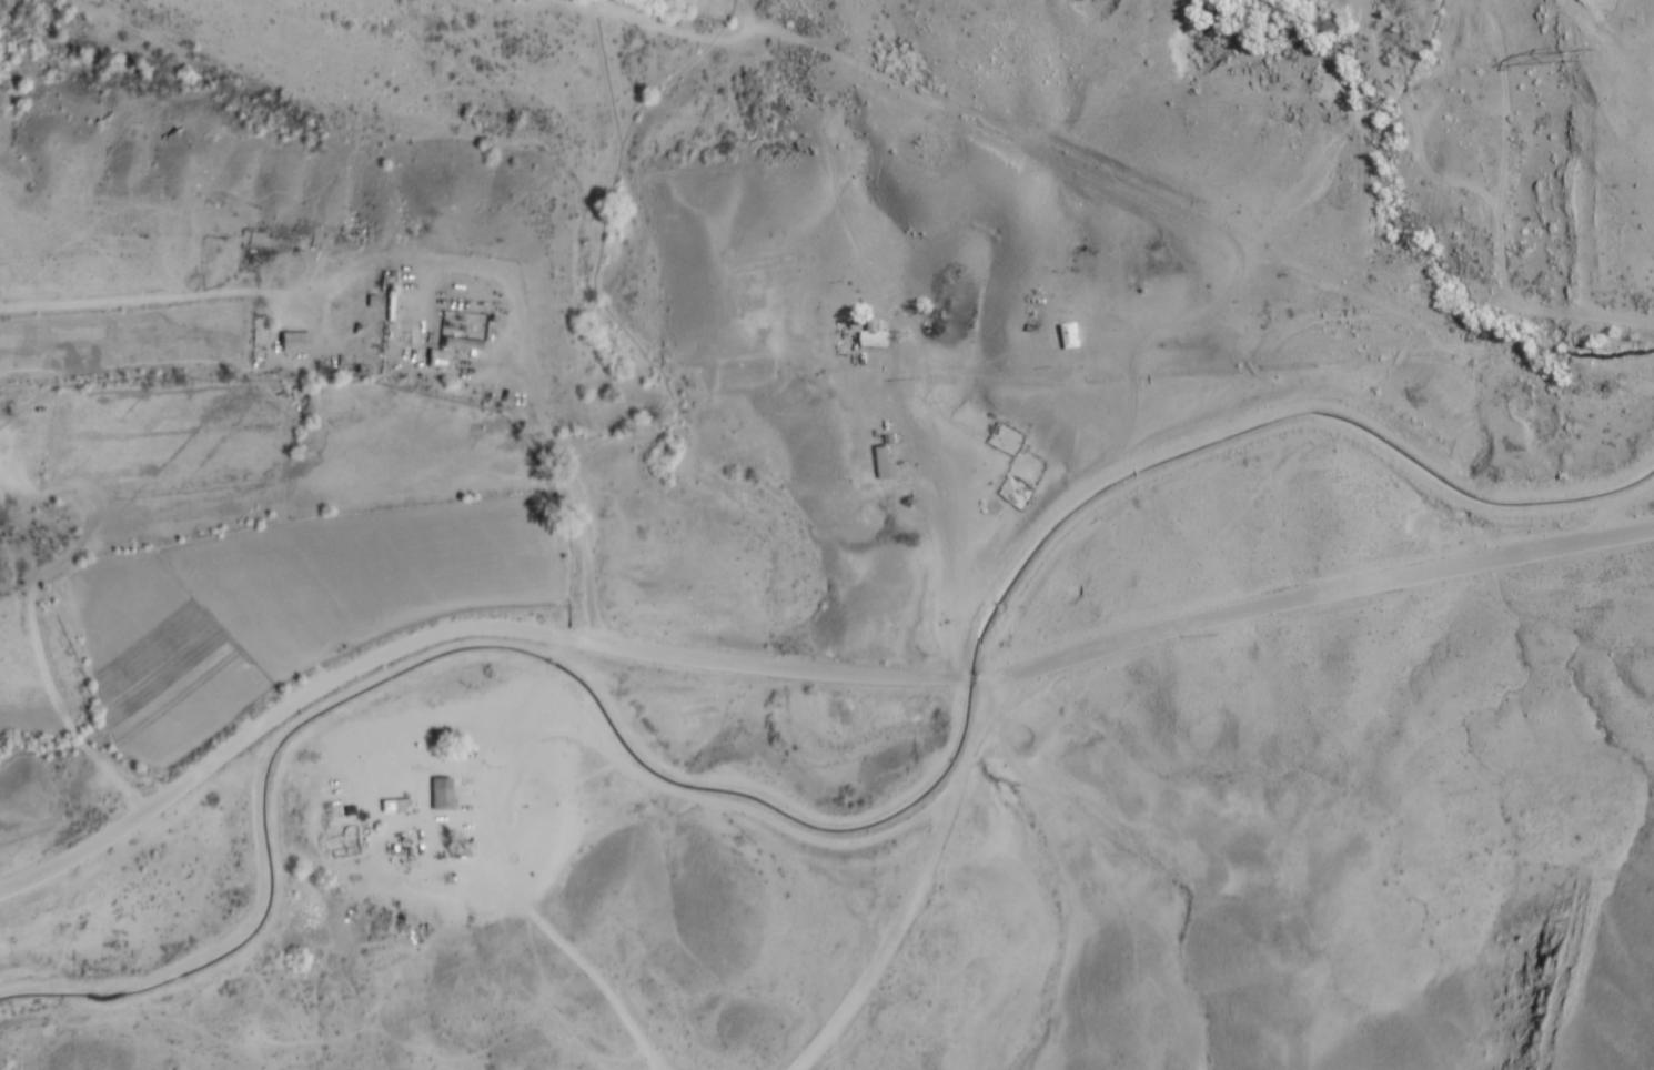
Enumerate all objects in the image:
power tower: (1587, 50)
building: (878, 334)
building: (295, 340)
building: (462, 342)
road: (517, 351)
building: (885, 461)
road: (1315, 592)
road: (445, 629)
road: (971, 677)
building: (443, 793)
road: (926, 859)

